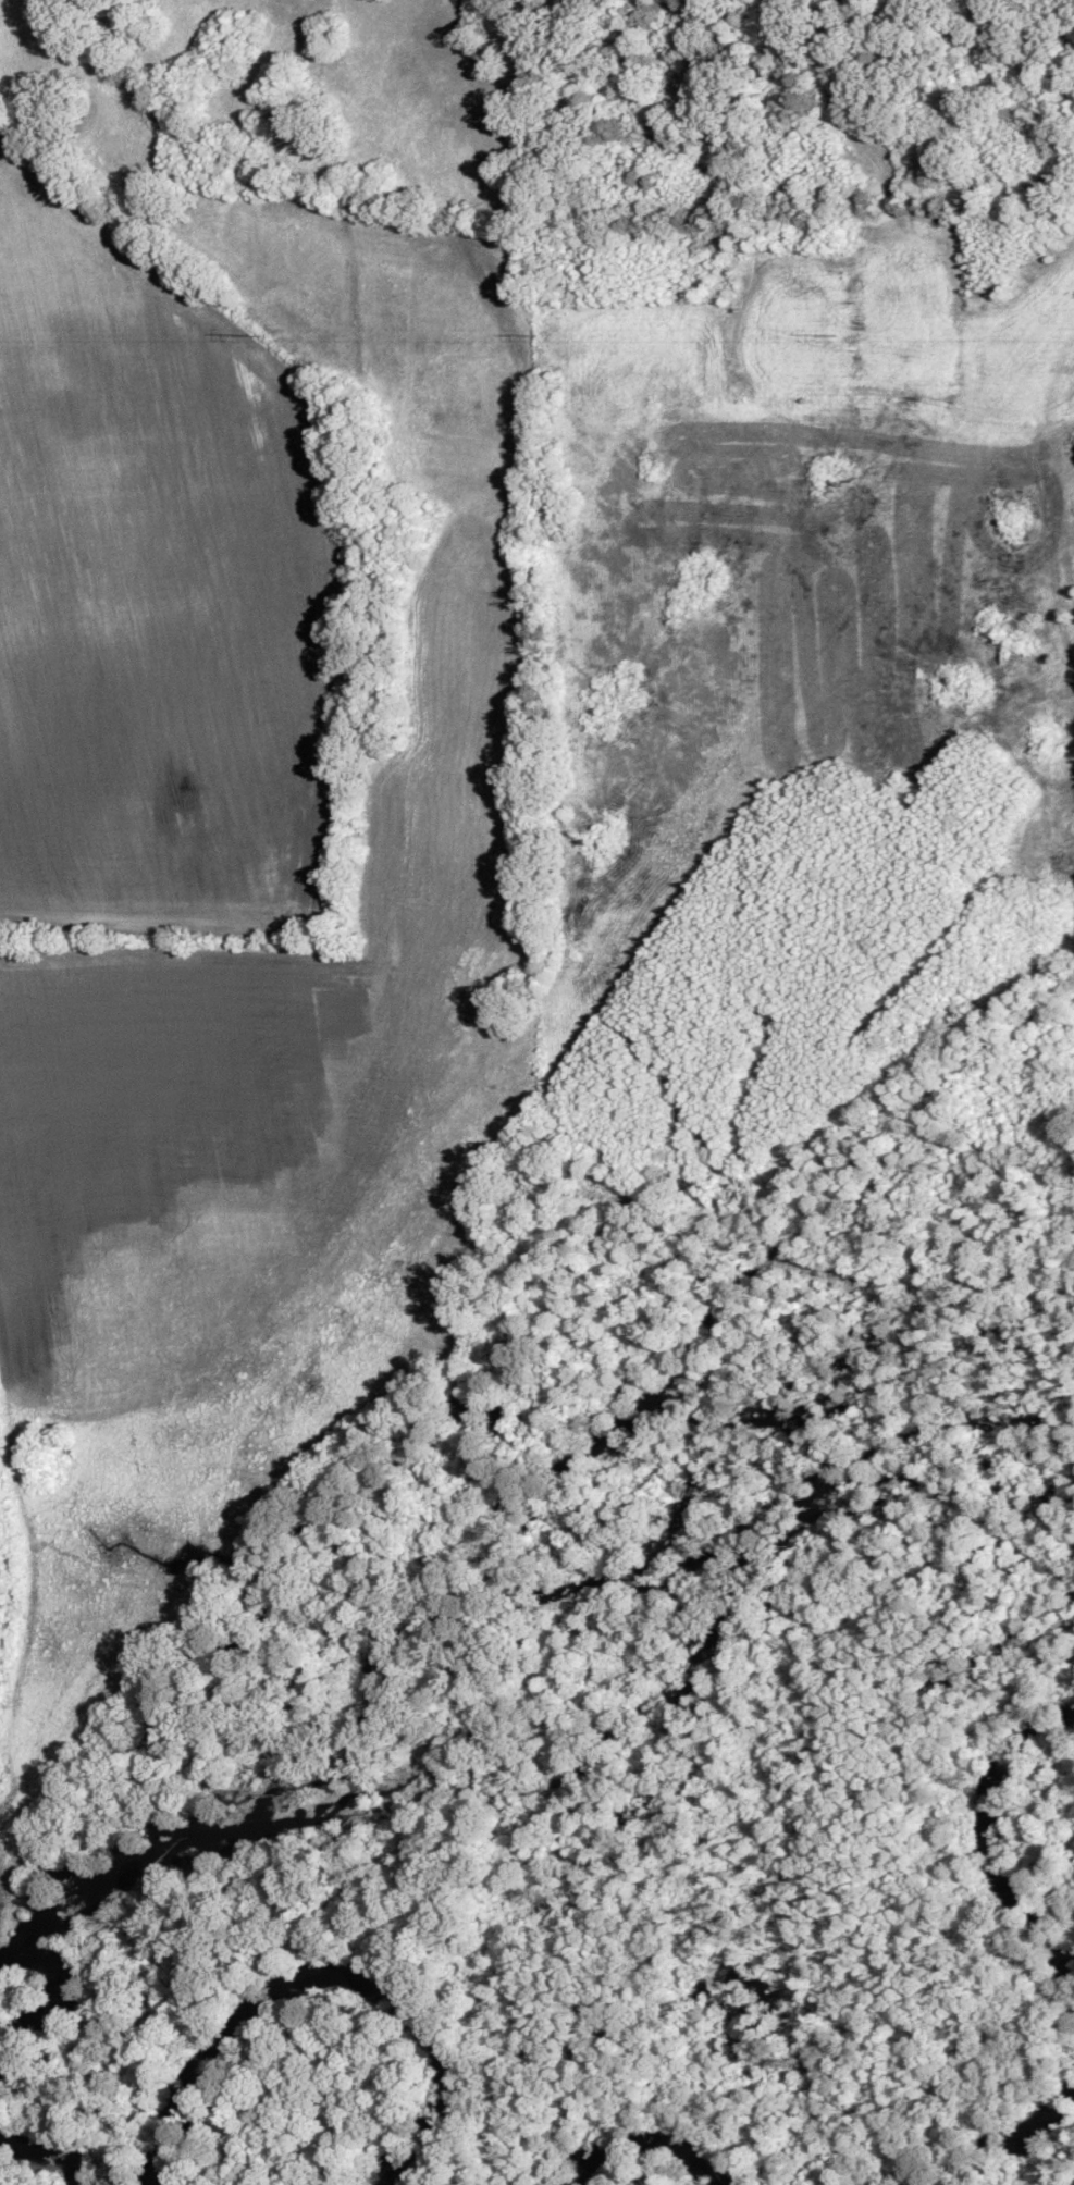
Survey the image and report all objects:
river: (1007, 1849)
river: (333, 1972)
river: (22, 2052)
river: (658, 2137)
river: (991, 2147)

